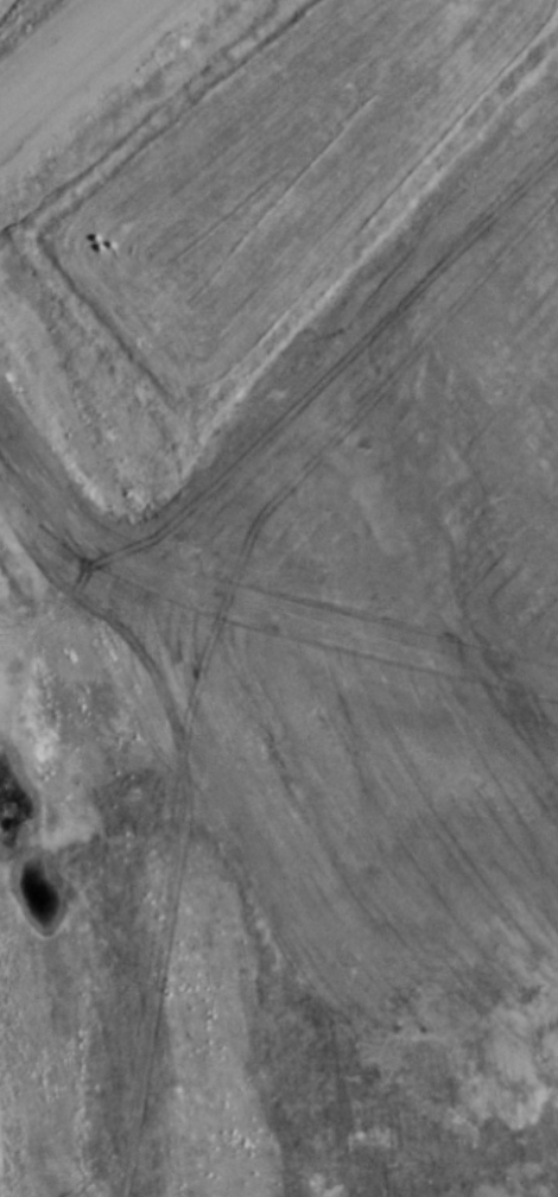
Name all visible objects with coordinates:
quarry: (279, 598)

